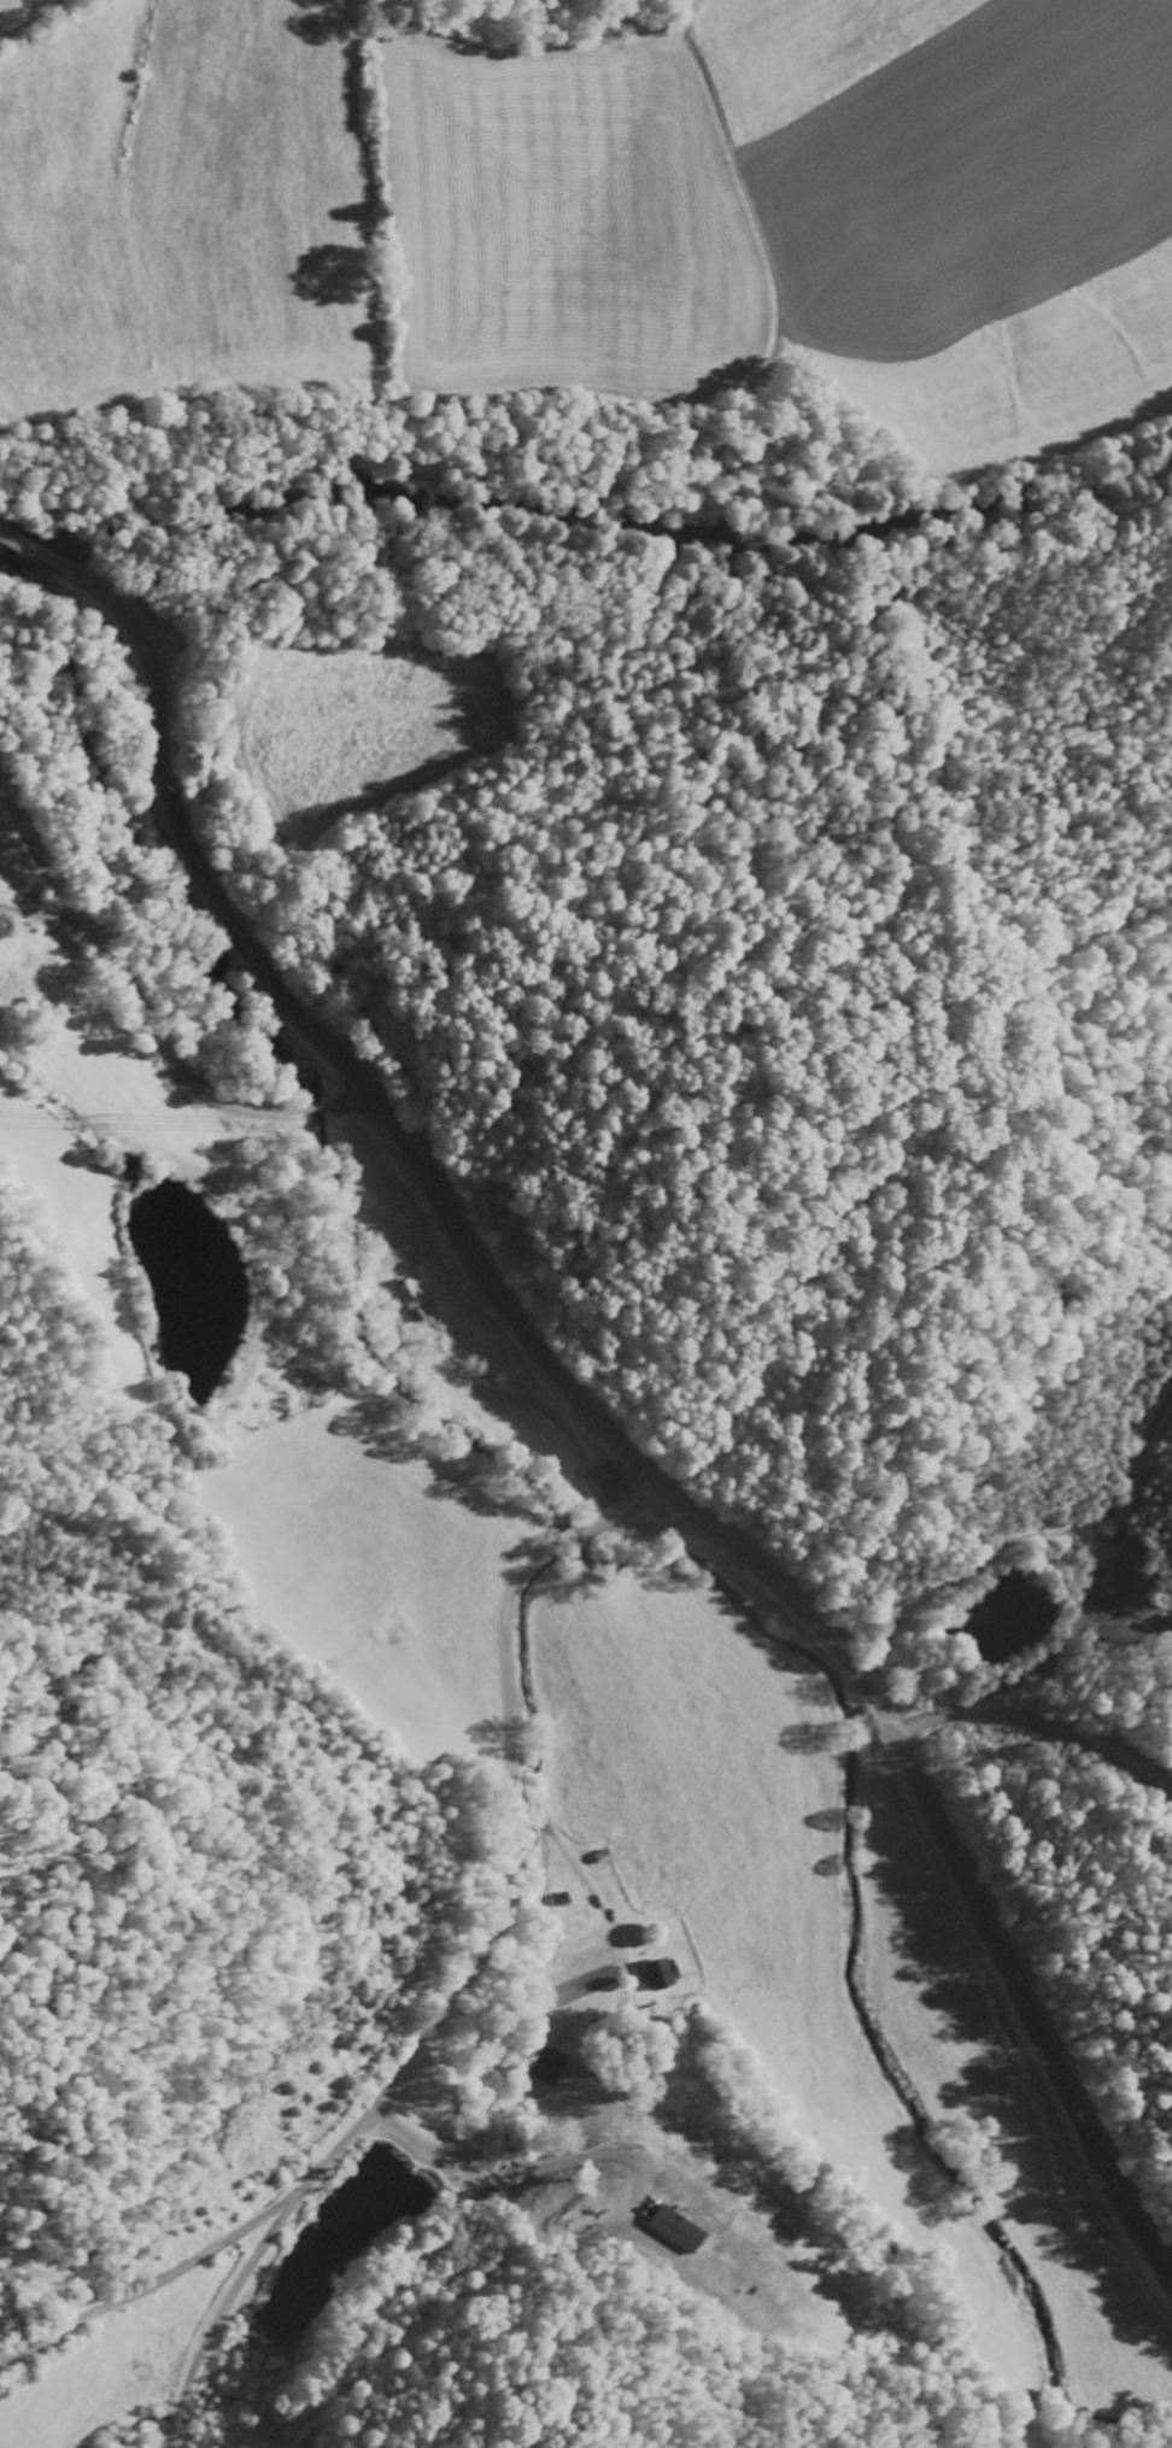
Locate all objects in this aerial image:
road: (634, 444)
road: (141, 1012)
road: (581, 1399)
building: (608, 1482)
road: (481, 1957)
building: (661, 1973)
building: (547, 2066)
building: (674, 2229)
road: (158, 2284)

